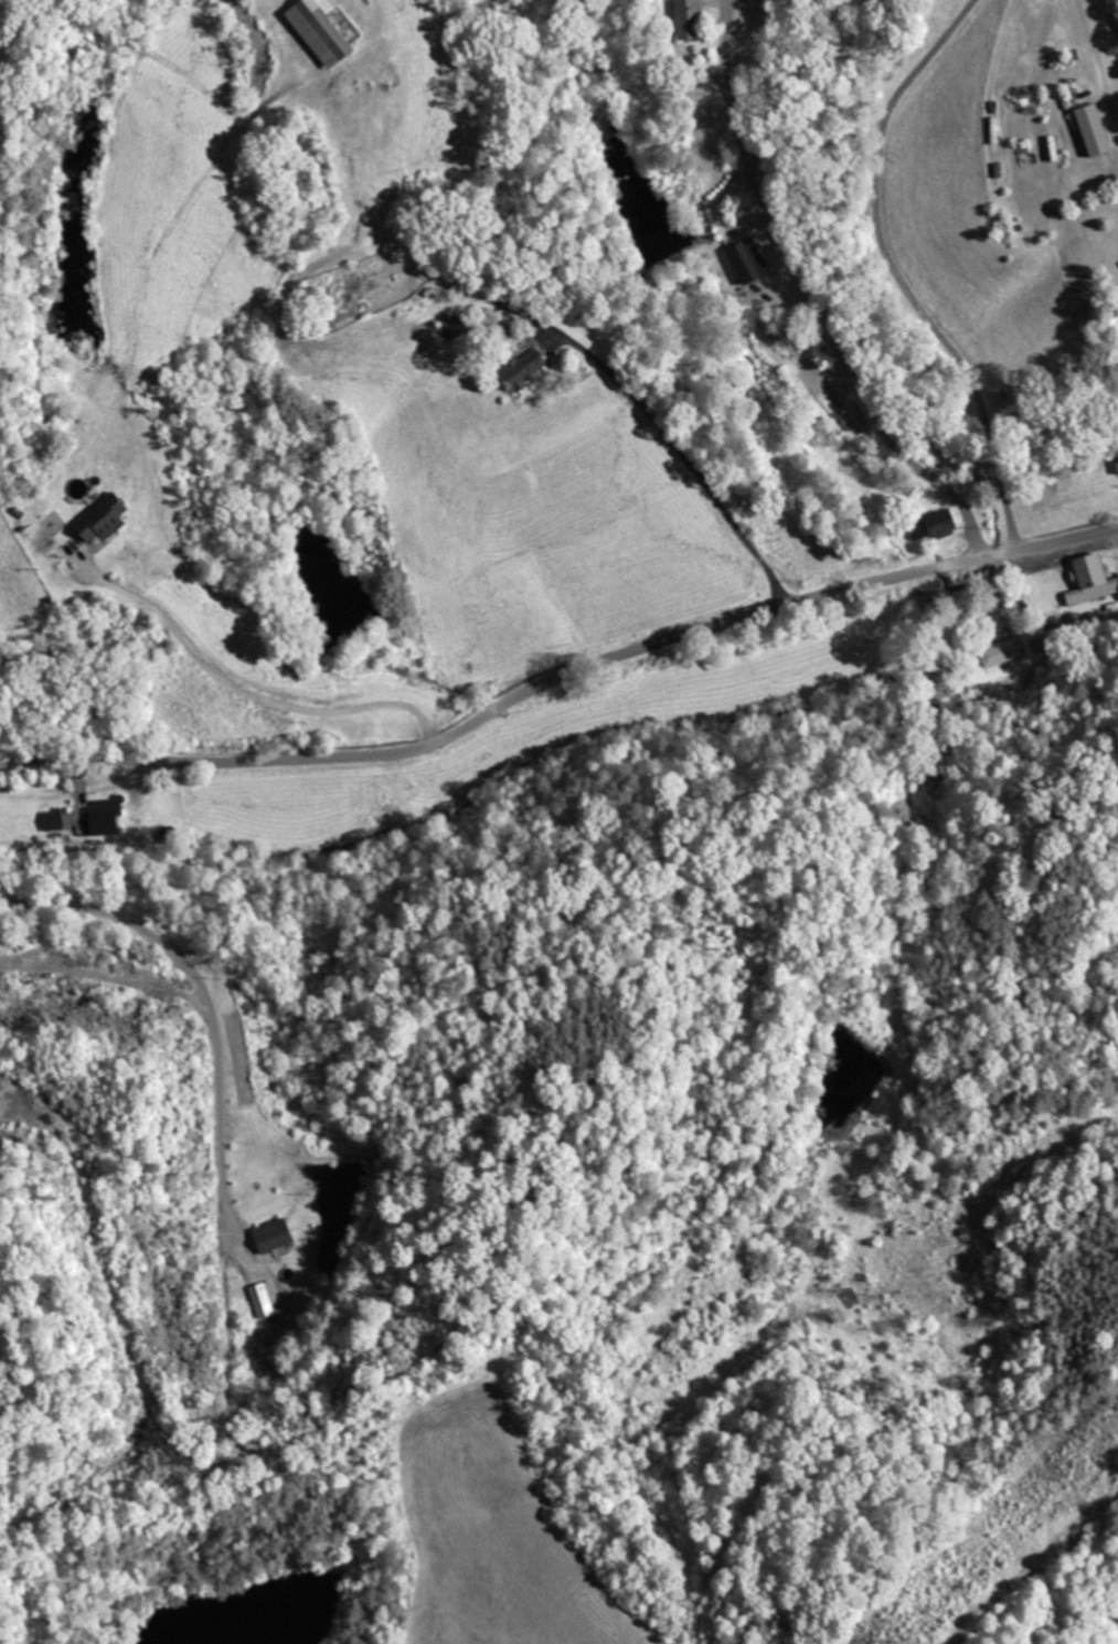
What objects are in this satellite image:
building: (684, 19)
building: (313, 31)
building: (1090, 129)
building: (743, 259)
road: (809, 298)
building: (492, 326)
building: (522, 369)
road: (659, 437)
building: (102, 518)
building: (930, 526)
building: (1088, 580)
building: (1002, 651)
road: (558, 675)
building: (109, 815)
building: (57, 820)
building: (278, 1234)
building: (268, 1298)
road: (645, 1495)

